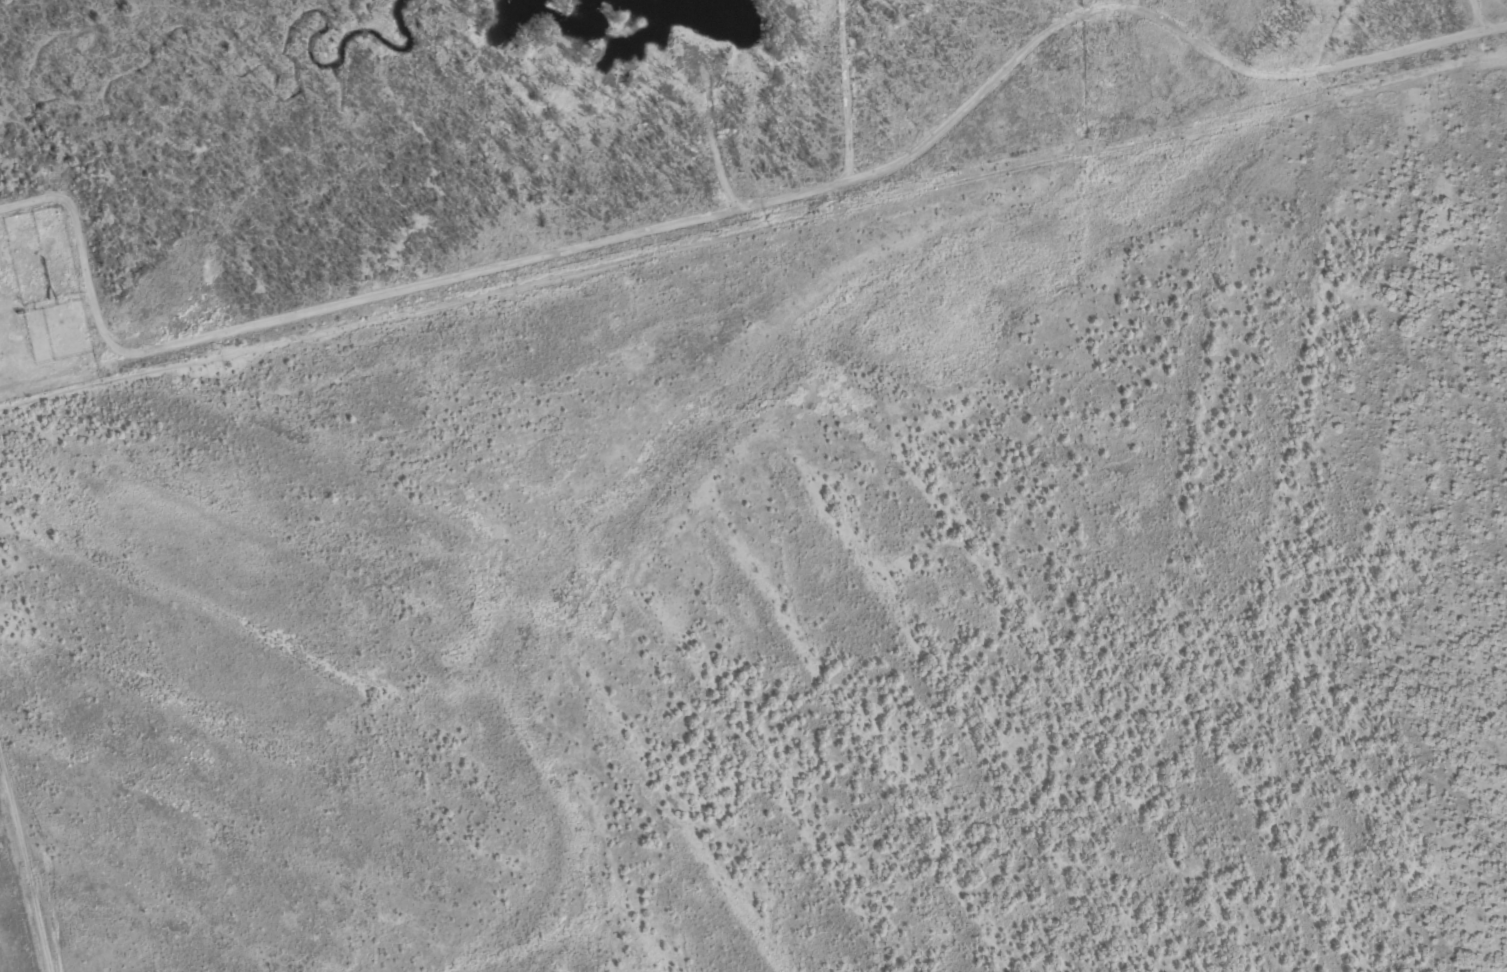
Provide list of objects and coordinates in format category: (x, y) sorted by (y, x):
road: (754, 228)

